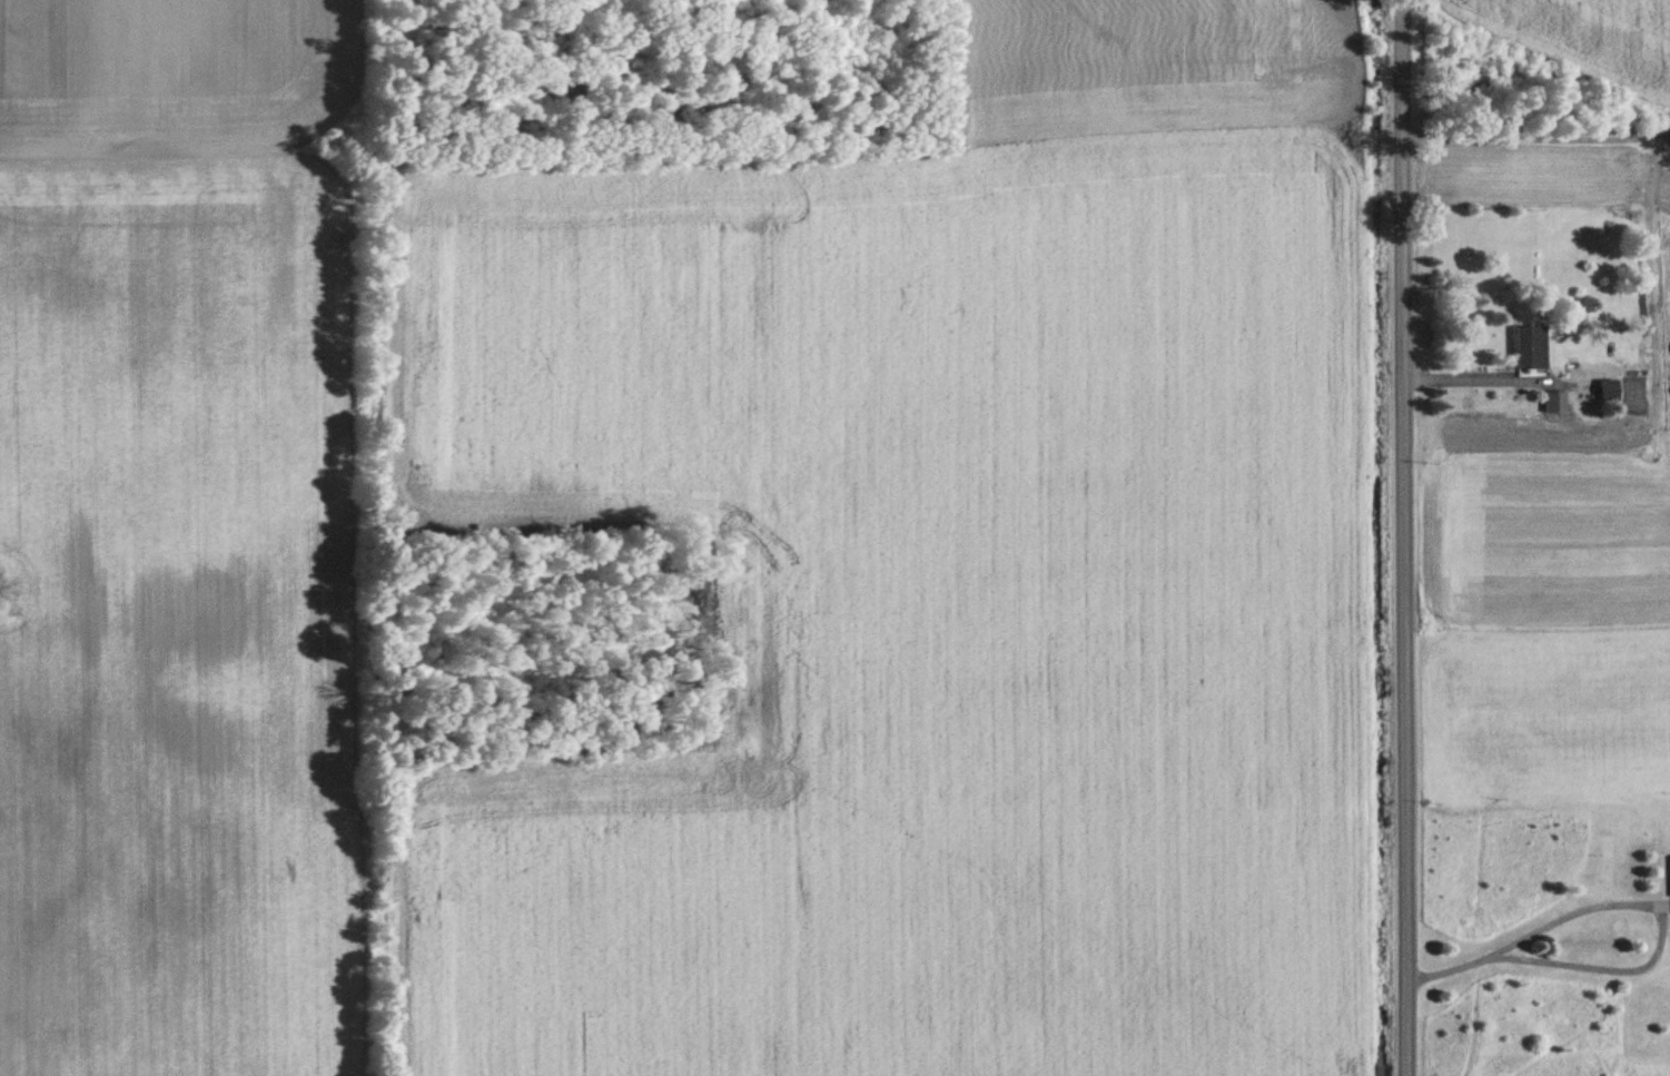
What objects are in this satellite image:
road: (1535, 138)
building: (1531, 348)
road: (1459, 374)
building: (1609, 391)
road: (1399, 537)
road: (1624, 897)

